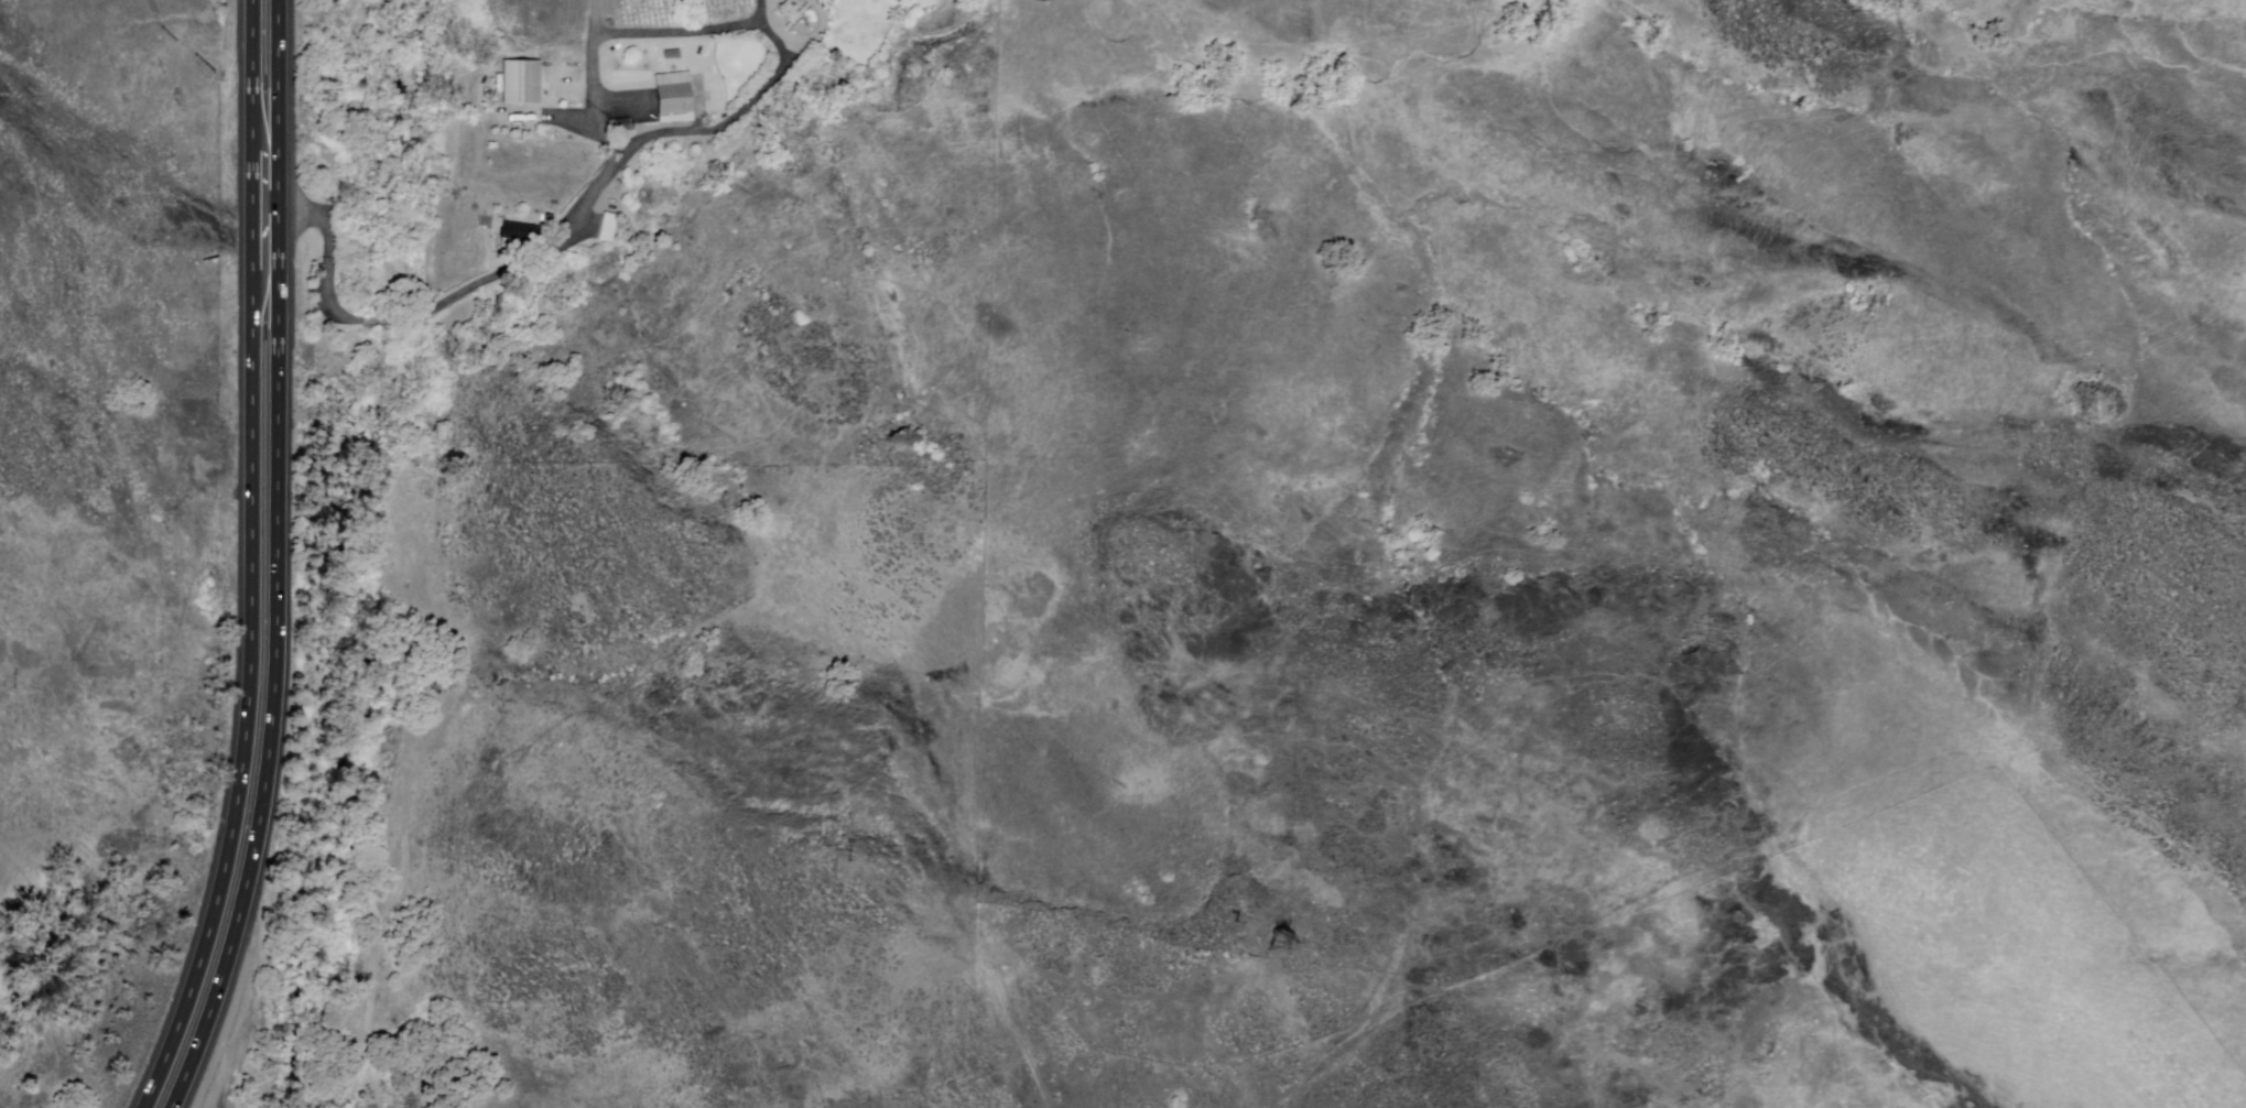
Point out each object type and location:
building: (523, 79)
building: (560, 88)
building: (675, 97)
building: (622, 124)
road: (267, 214)
building: (606, 227)
building: (520, 232)
road: (533, 257)
road: (279, 561)
road: (254, 562)
power tower: (14, 685)
power tower: (1291, 941)

